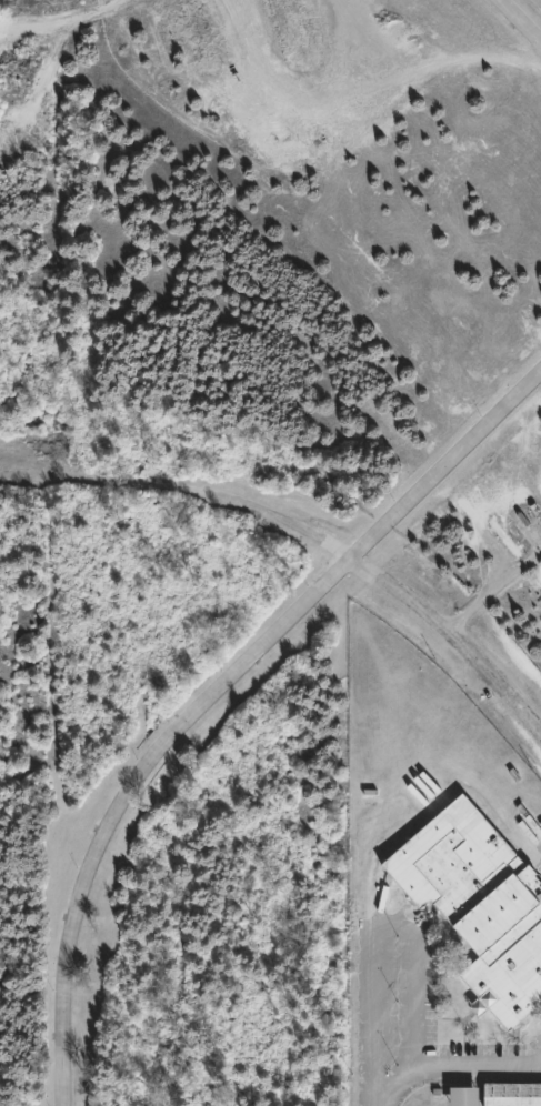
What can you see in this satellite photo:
road: (519, 22)
airport: (290, 251)
road: (305, 530)
road: (492, 593)
road: (214, 693)
building: (479, 904)
road: (452, 1063)
building: (512, 1094)
building: (464, 1096)

